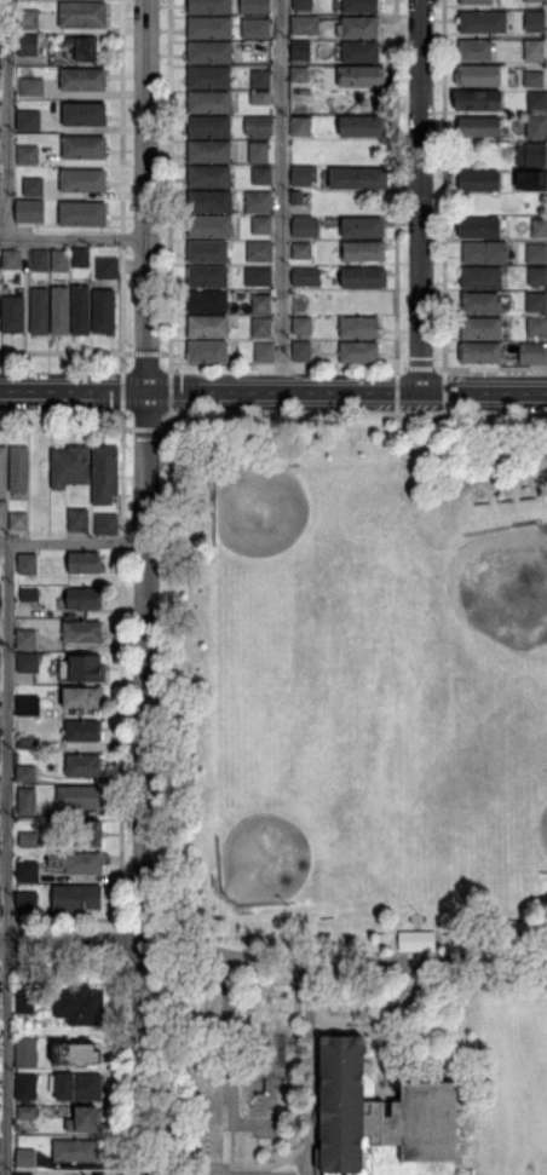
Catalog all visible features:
building: (534, 0)
building: (477, 2)
building: (304, 5)
building: (211, 6)
building: (254, 6)
building: (361, 6)
building: (82, 15)
building: (27, 19)
building: (535, 21)
building: (484, 22)
building: (305, 24)
building: (211, 27)
building: (359, 27)
building: (257, 28)
building: (28, 45)
building: (82, 47)
building: (304, 50)
building: (477, 50)
building: (534, 50)
building: (358, 51)
building: (211, 53)
building: (299, 74)
building: (483, 74)
building: (361, 76)
building: (209, 77)
building: (81, 79)
building: (261, 79)
building: (535, 79)
building: (30, 86)
building: (261, 98)
building: (479, 99)
building: (537, 99)
building: (209, 102)
building: (82, 114)
road: (7, 119)
building: (28, 120)
building: (259, 126)
building: (301, 126)
building: (480, 126)
building: (211, 127)
building: (363, 127)
building: (537, 127)
building: (82, 146)
building: (261, 151)
building: (209, 152)
building: (25, 154)
building: (536, 155)
building: (304, 174)
building: (263, 175)
building: (211, 177)
building: (358, 177)
building: (0, 178)
building: (81, 180)
building: (479, 180)
building: (532, 180)
building: (31, 186)
road: (145, 194)
road: (282, 195)
road: (420, 196)
building: (258, 201)
building: (211, 202)
building: (25, 213)
building: (81, 213)
building: (263, 225)
building: (306, 225)
building: (211, 226)
building: (539, 226)
building: (362, 227)
building: (480, 227)
road: (73, 238)
building: (208, 250)
building: (260, 250)
building: (300, 250)
building: (364, 250)
building: (485, 252)
building: (537, 253)
building: (39, 258)
building: (79, 258)
building: (10, 259)
building: (58, 260)
building: (104, 267)
building: (258, 276)
building: (303, 276)
building: (537, 276)
building: (208, 277)
building: (482, 277)
building: (364, 278)
building: (208, 301)
building: (483, 301)
building: (536, 301)
building: (261, 304)
building: (59, 310)
building: (80, 310)
building: (38, 311)
building: (102, 311)
building: (12, 313)
building: (304, 322)
building: (537, 324)
building: (208, 327)
building: (263, 327)
building: (361, 327)
building: (480, 327)
building: (208, 351)
building: (301, 351)
building: (265, 352)
building: (359, 352)
building: (483, 352)
building: (534, 352)
road: (73, 388)
road: (346, 391)
road: (358, 417)
building: (68, 466)
building: (18, 468)
building: (2, 471)
building: (103, 474)
building: (36, 491)
park: (259, 508)
building: (2, 513)
building: (76, 519)
building: (17, 520)
building: (103, 523)
road: (73, 540)
building: (82, 563)
building: (25, 564)
park: (503, 588)
building: (27, 594)
building: (82, 598)
building: (81, 632)
building: (25, 639)
building: (29, 662)
building: (86, 668)
building: (81, 696)
building: (25, 704)
building: (80, 730)
building: (24, 742)
building: (80, 764)
building: (25, 773)
road: (144, 782)
park: (352, 794)
road: (167, 795)
building: (77, 796)
building: (24, 800)
park: (541, 829)
building: (86, 835)
building: (28, 840)
road: (6, 857)
park: (263, 857)
building: (75, 863)
building: (27, 871)
building: (76, 898)
building: (25, 902)
building: (416, 940)
road: (71, 943)
road: (344, 958)
building: (25, 1001)
building: (77, 1004)
park: (545, 1029)
building: (25, 1052)
building: (76, 1054)
road: (309, 1069)
building: (75, 1085)
building: (24, 1087)
building: (27, 1112)
building: (376, 1114)
building: (90, 1118)
building: (70, 1125)
building: (76, 1150)
building: (25, 1159)
building: (23, 1174)

